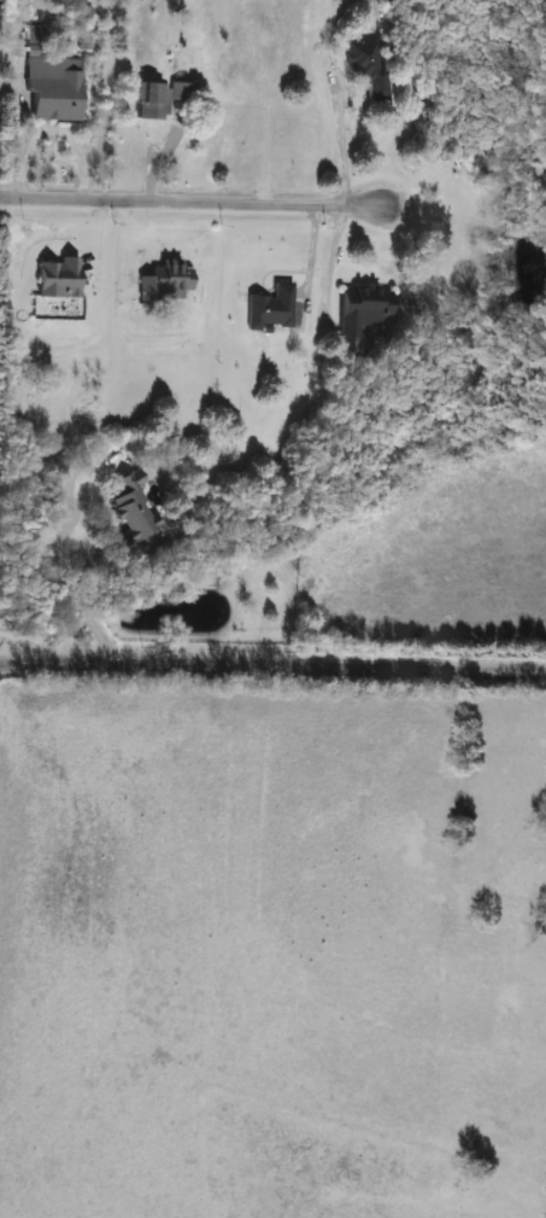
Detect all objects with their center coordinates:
building: (372, 68)
building: (49, 80)
building: (159, 97)
road: (51, 133)
road: (340, 148)
building: (468, 158)
road: (190, 202)
building: (58, 278)
building: (164, 281)
building: (270, 308)
building: (363, 308)
building: (131, 508)
road: (53, 567)
road: (272, 669)

